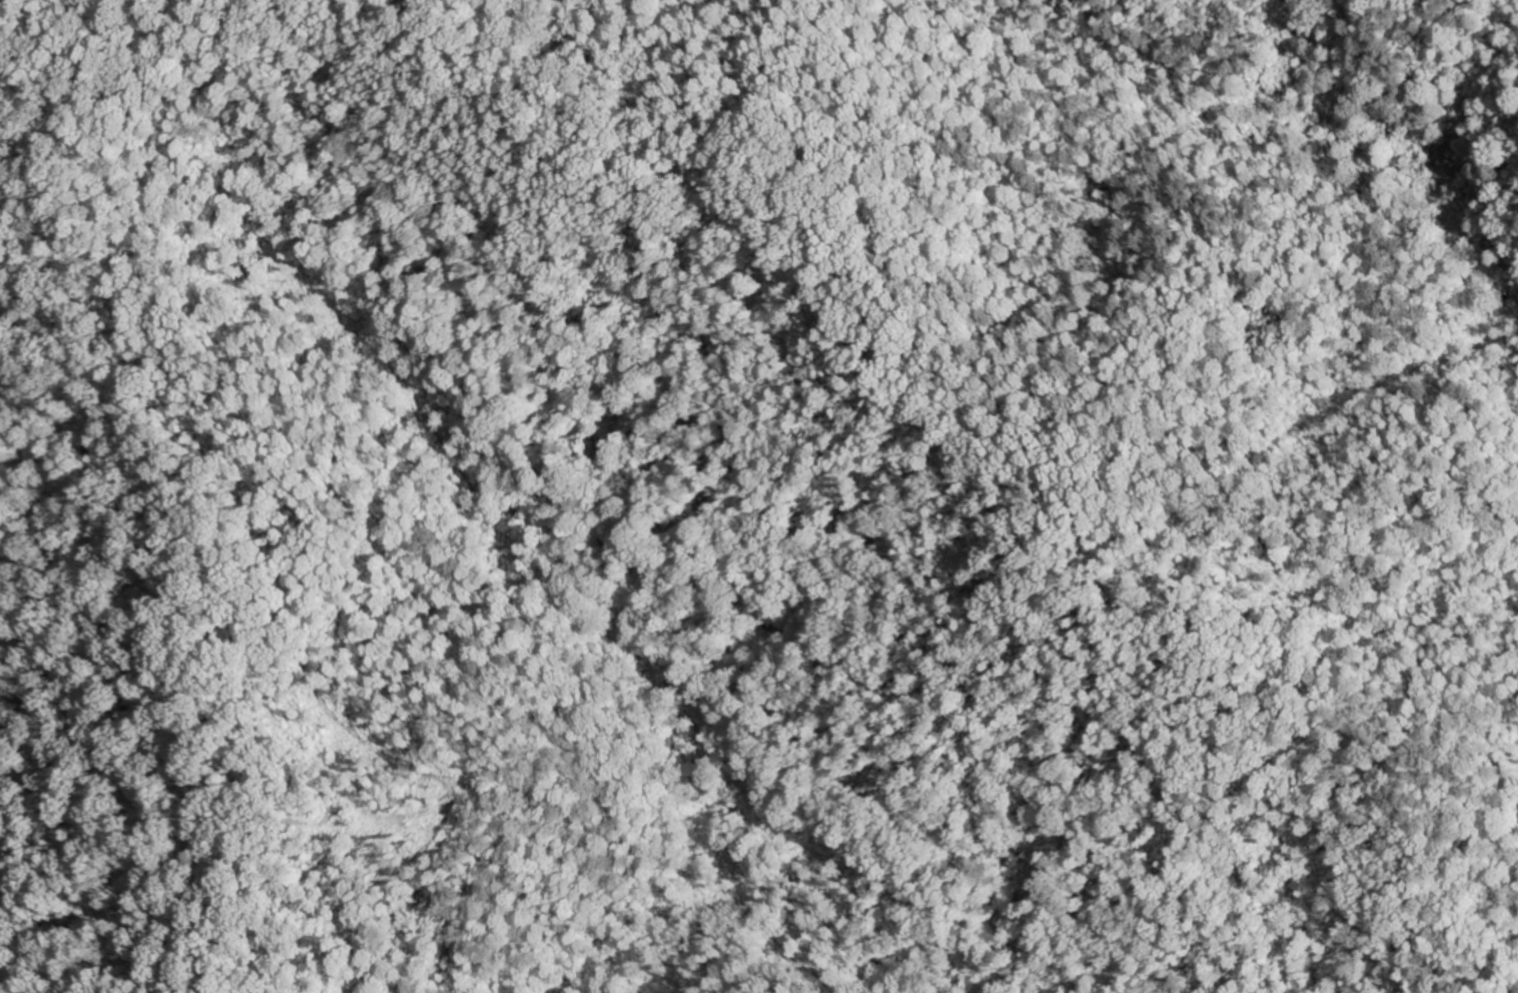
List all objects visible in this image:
road: (1442, 187)

